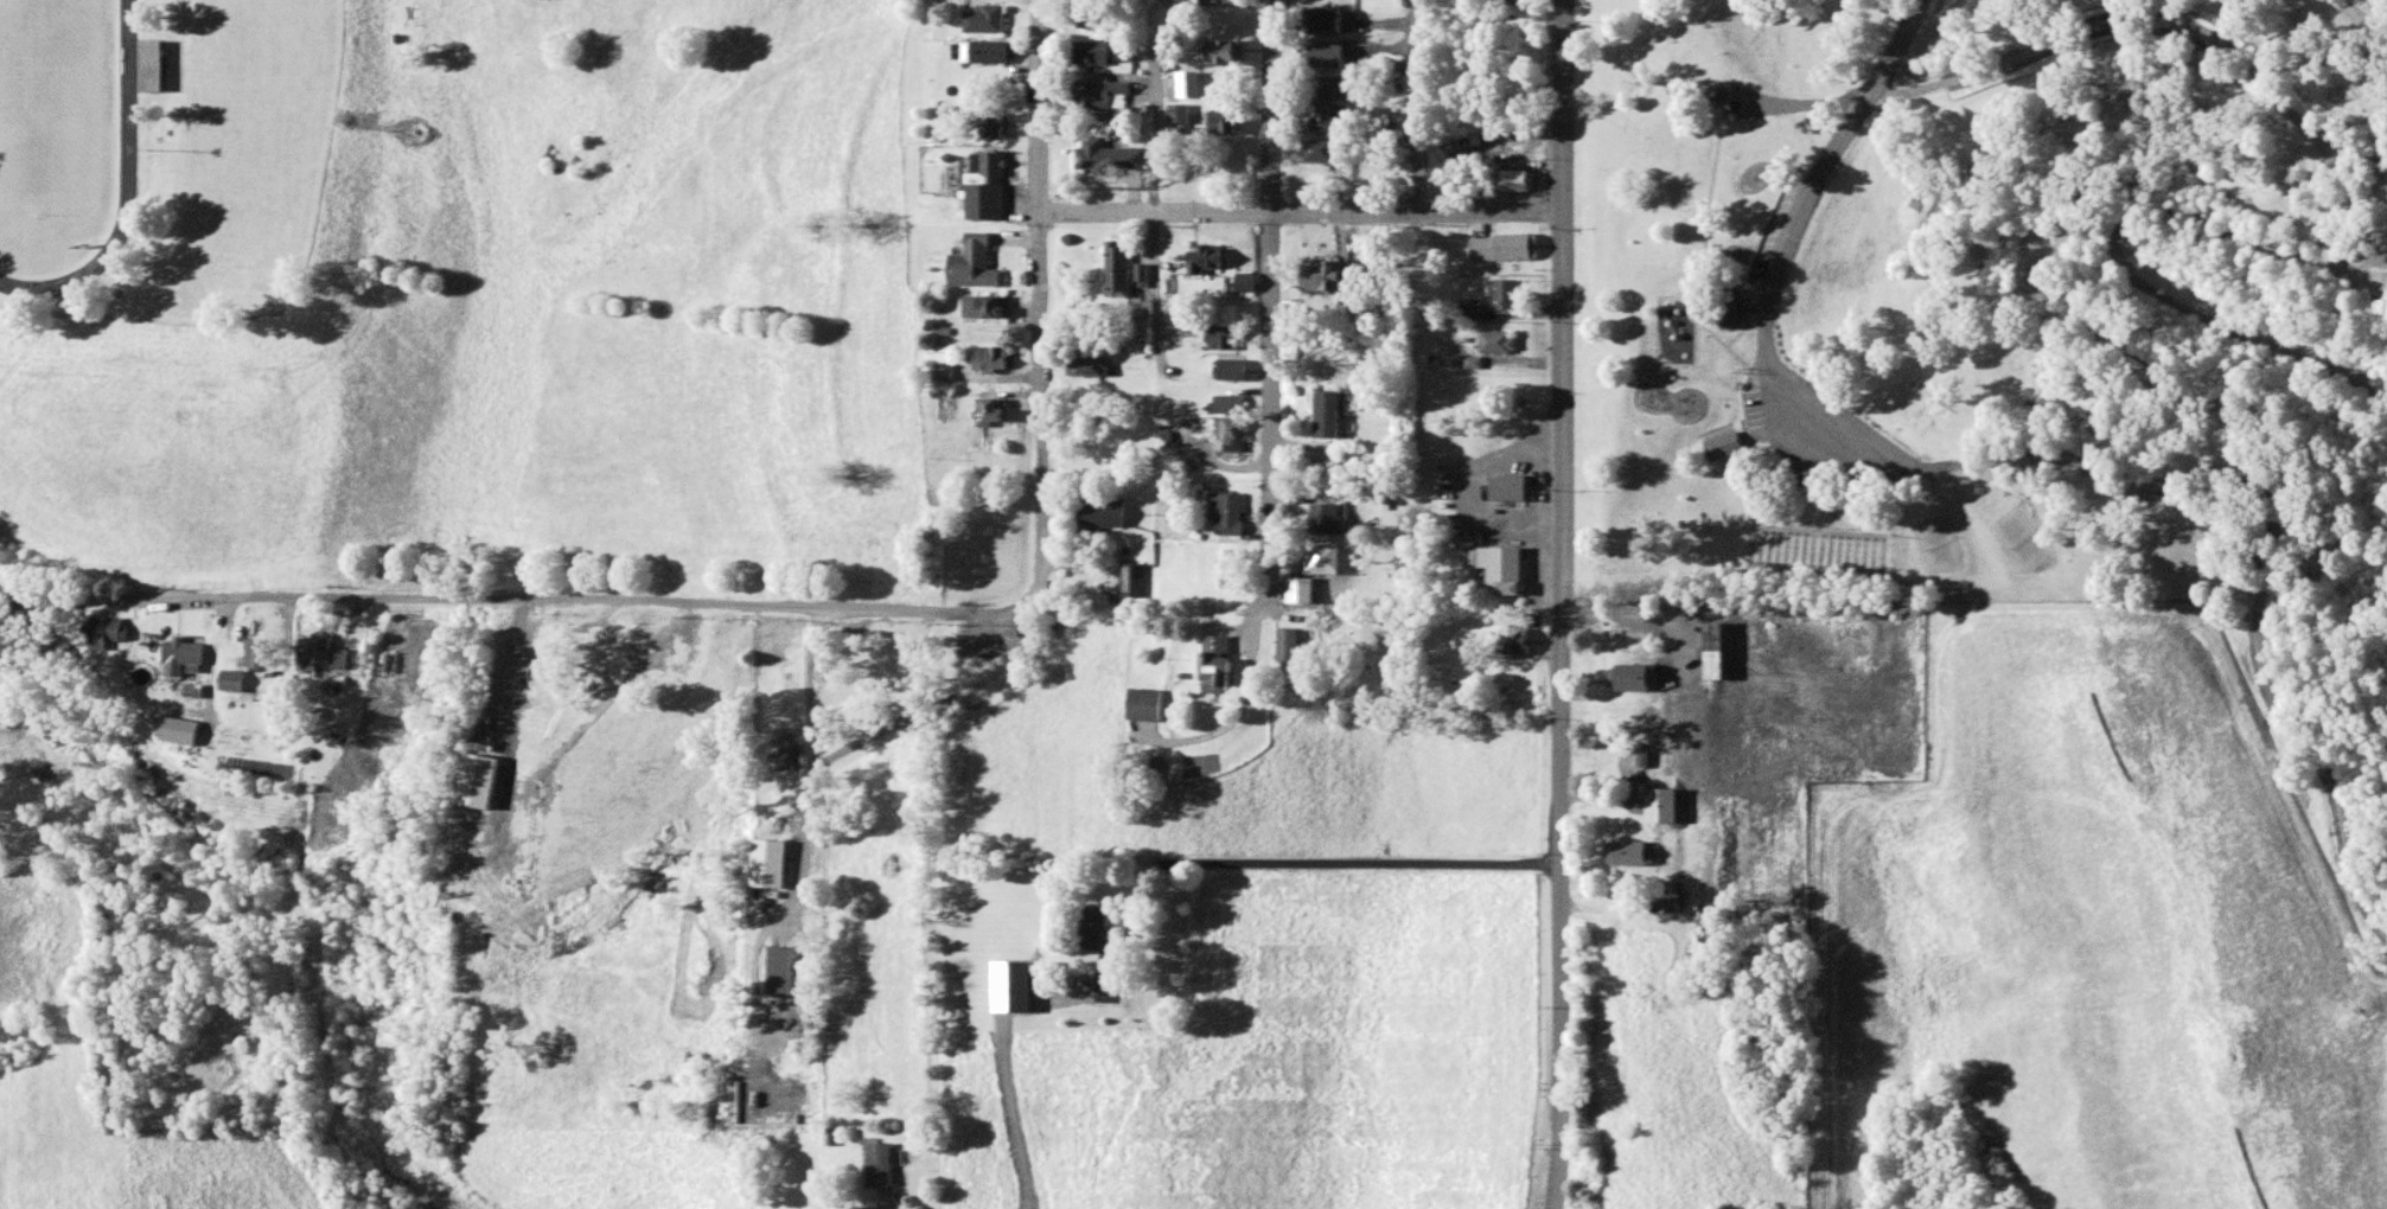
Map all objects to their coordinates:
road: (1711, 87)
building: (1715, 97)
road: (1808, 105)
park: (51, 107)
road: (2353, 154)
stadium: (84, 171)
road: (1774, 171)
road: (1727, 205)
road: (1301, 212)
road: (1711, 213)
parking lot: (1772, 237)
road: (2368, 248)
road: (1783, 262)
road: (2373, 262)
road: (1562, 301)
road: (1041, 303)
fountain: (1689, 311)
building: (1730, 311)
road: (1269, 312)
park: (1997, 331)
road: (1725, 338)
road: (2271, 390)
parking lot: (1817, 430)
building: (1725, 447)
park: (2028, 543)
park: (1939, 545)
road: (2277, 546)
park: (1815, 552)
road: (605, 604)
building: (1635, 679)
road: (1361, 866)
road: (1559, 907)

